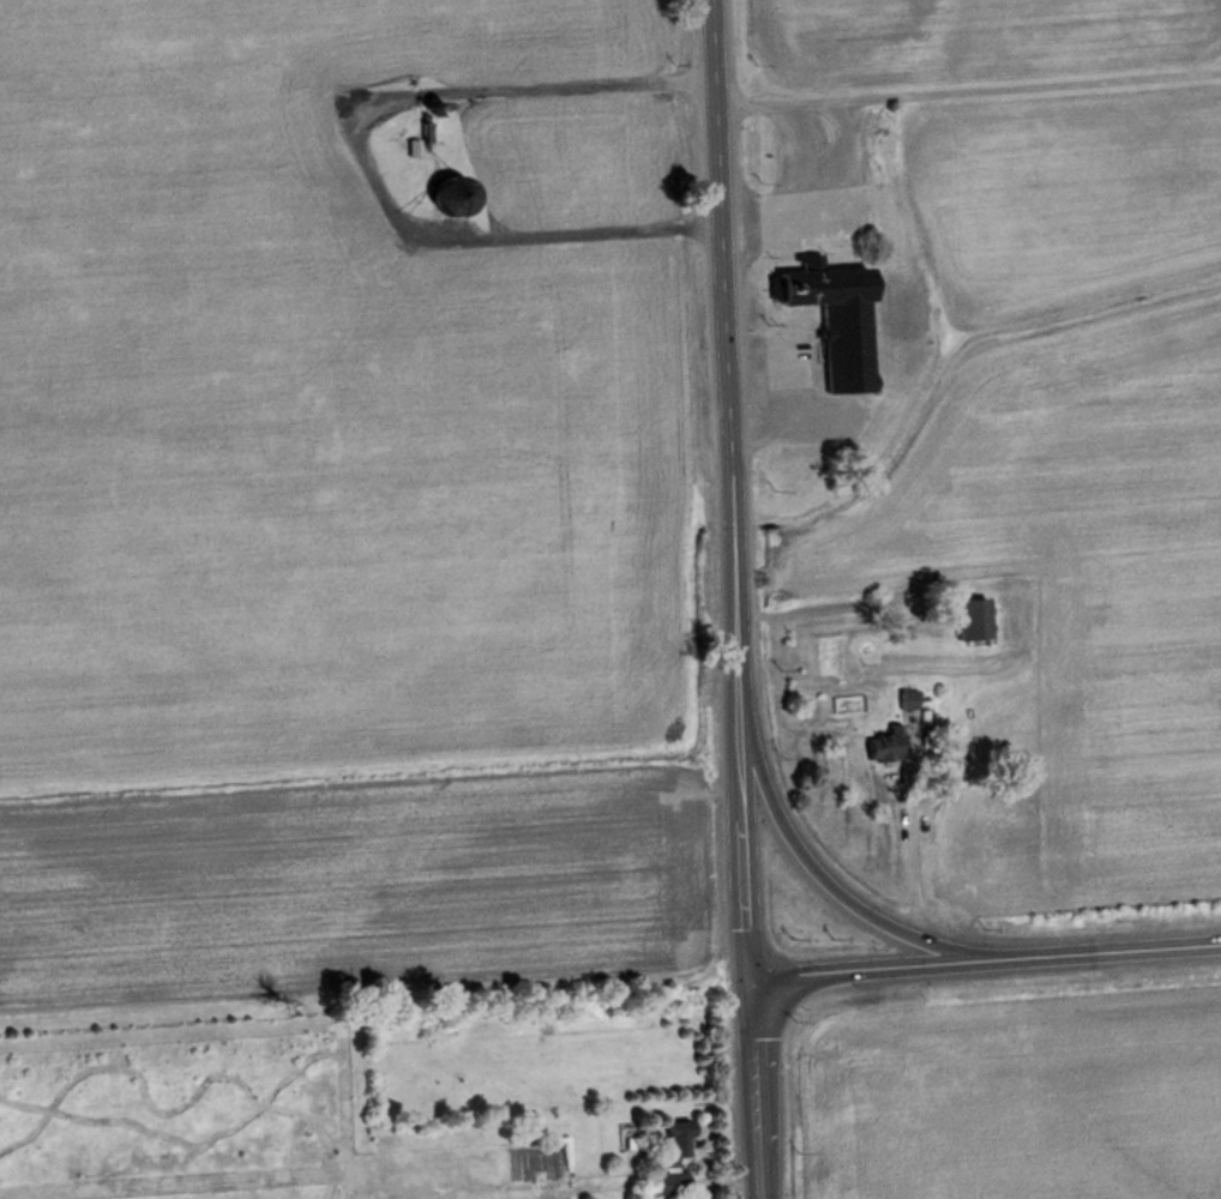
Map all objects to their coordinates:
road: (966, 82)
road: (360, 158)
building: (834, 321)
road: (726, 486)
building: (970, 622)
building: (908, 703)
building: (885, 748)
road: (820, 879)
road: (982, 957)
road: (750, 1086)
building: (674, 1143)
building: (670, 1186)

